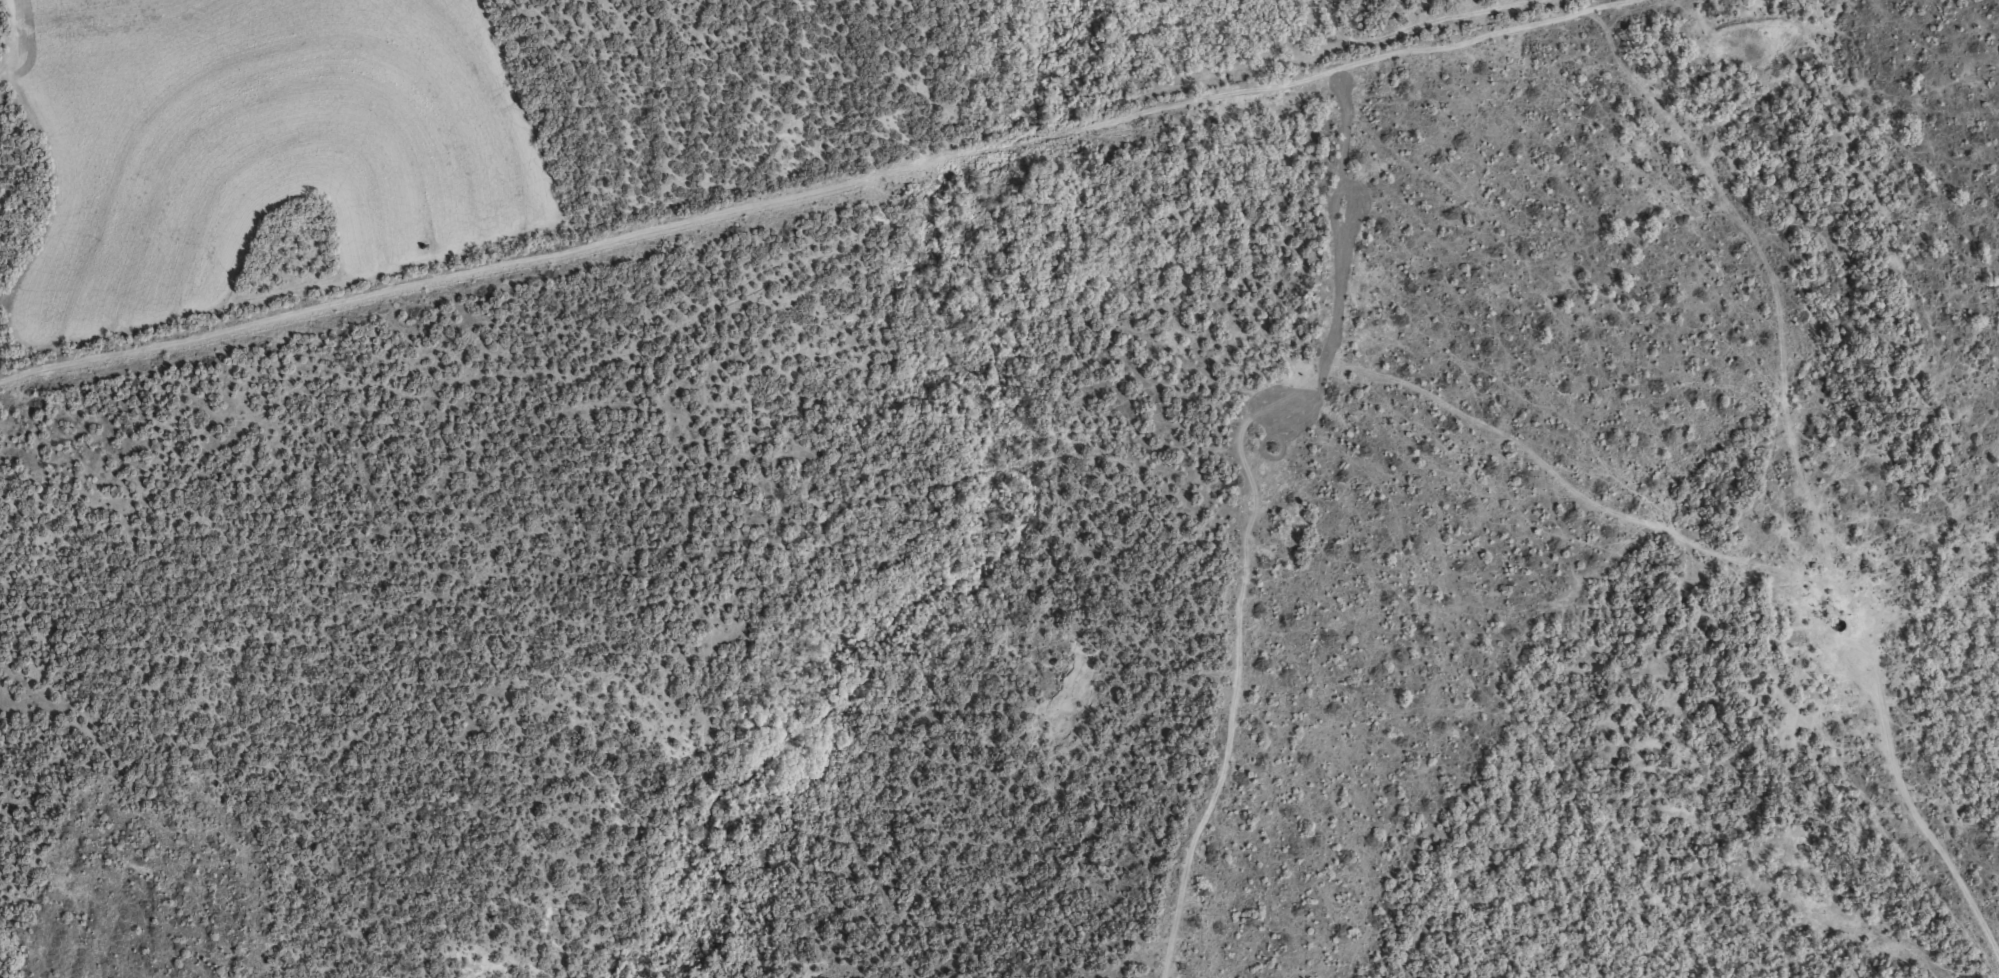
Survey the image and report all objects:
road: (780, 299)
road: (1636, 558)
road: (1207, 676)
road: (1706, 876)

